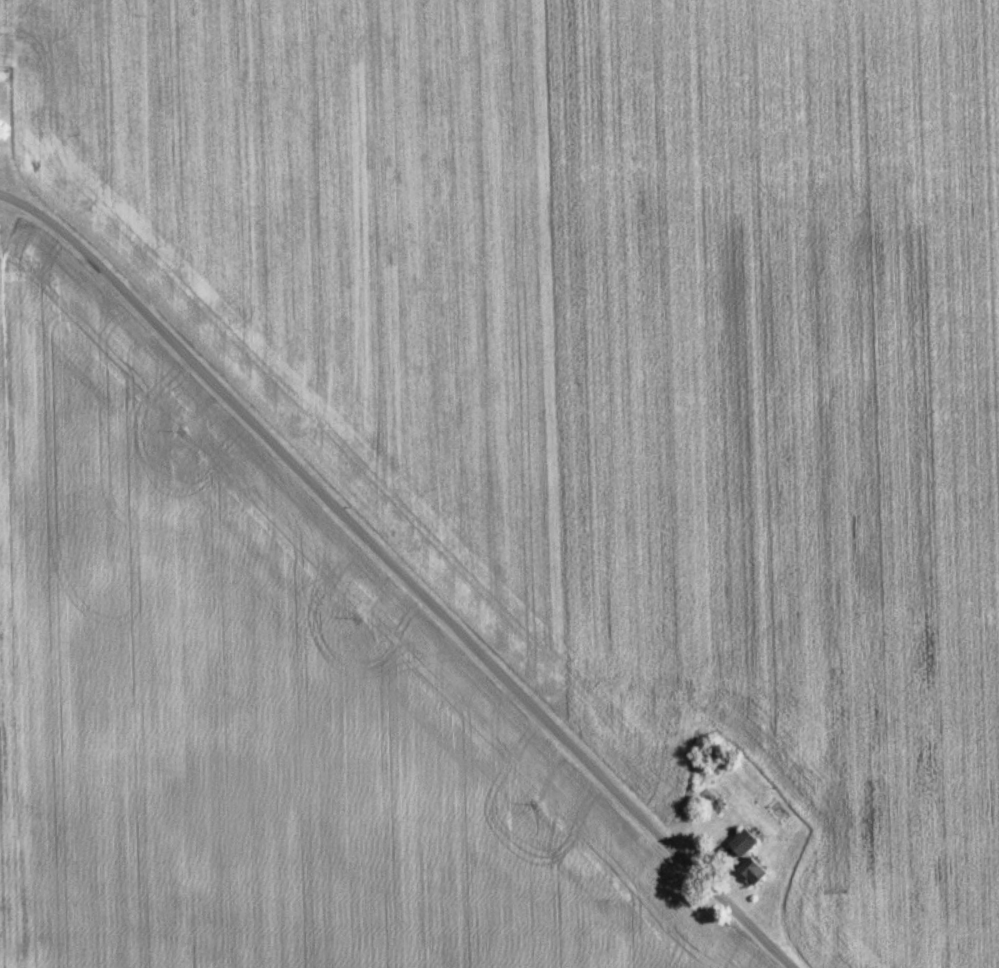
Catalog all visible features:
road: (403, 570)
building: (740, 843)
building: (749, 872)

